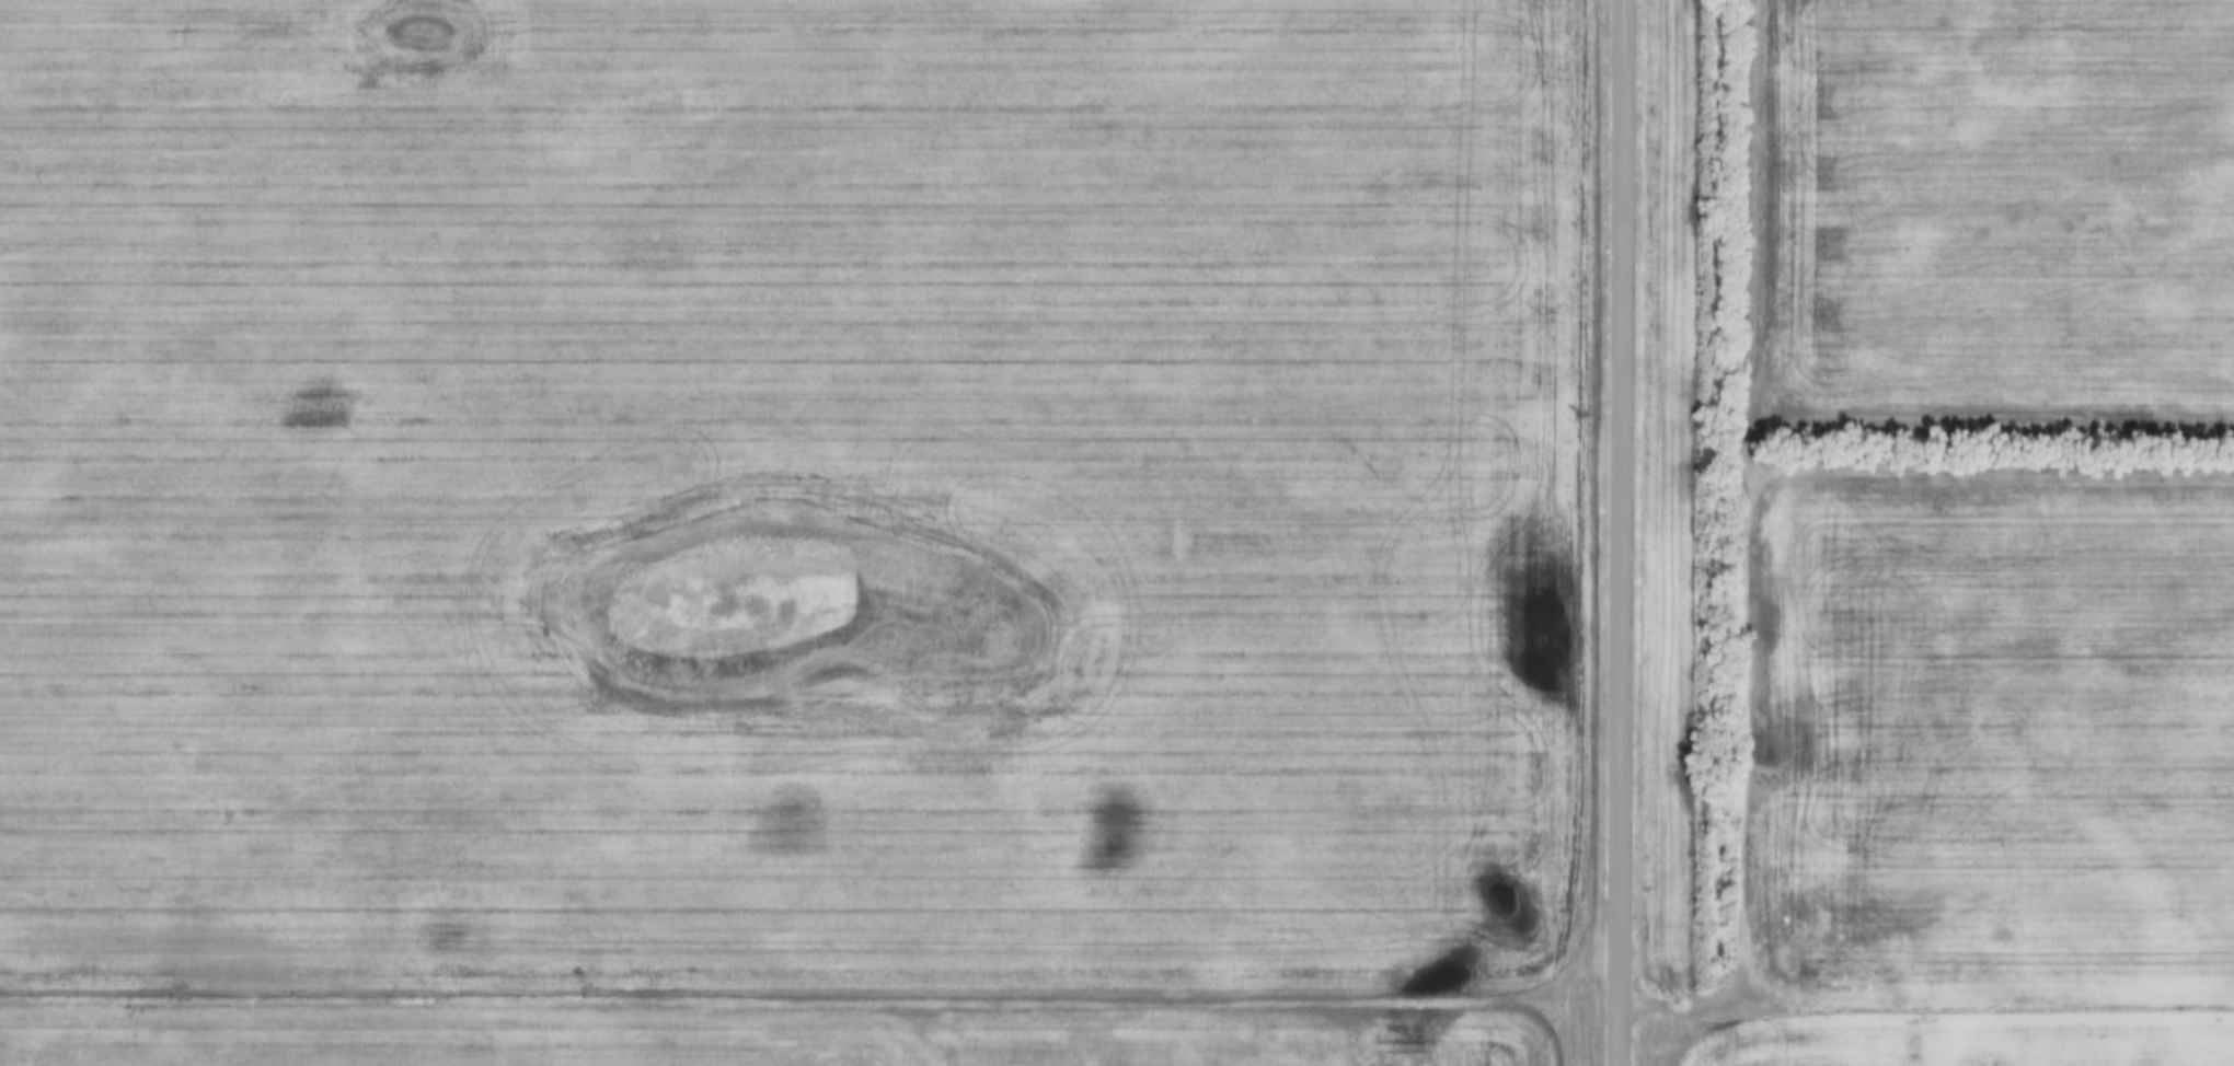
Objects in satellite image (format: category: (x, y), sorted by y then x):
road: (1625, 533)

